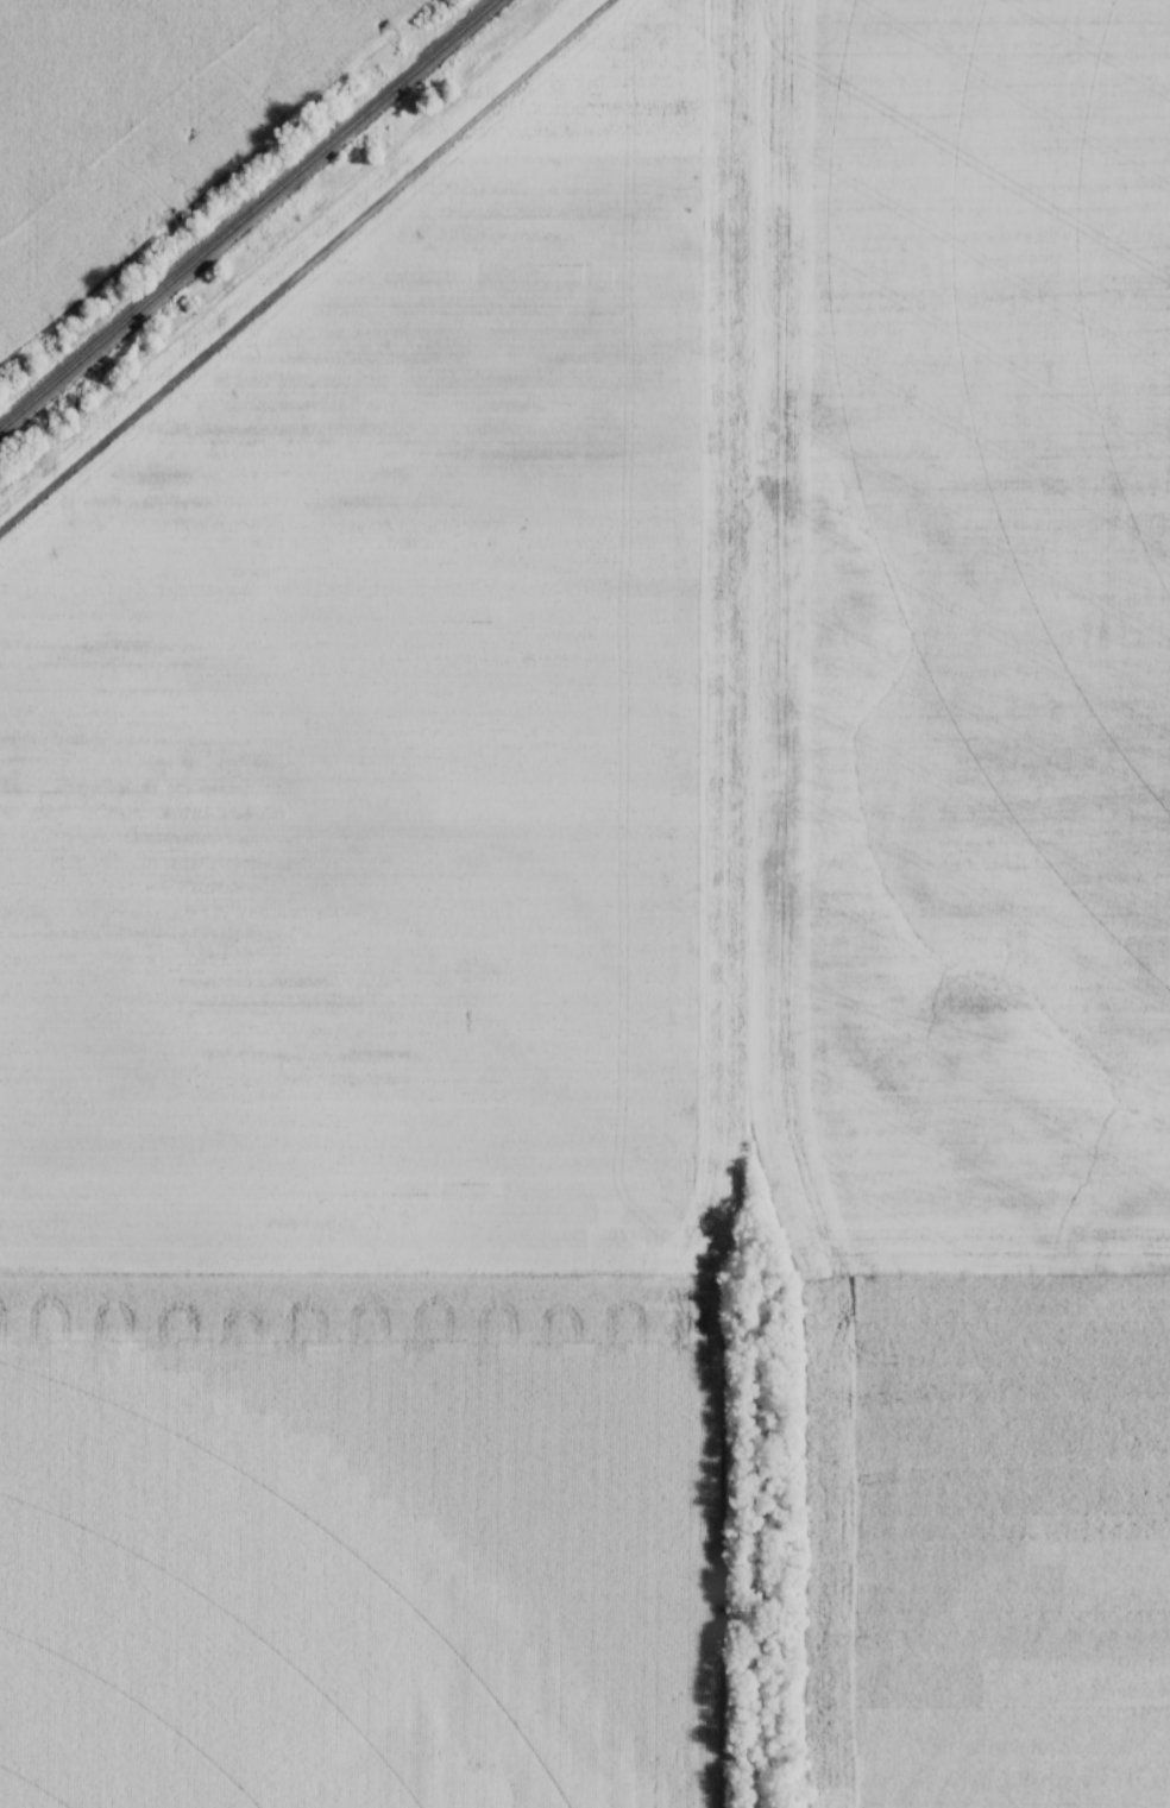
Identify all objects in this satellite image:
crop: (137, 119)
railway: (251, 215)
crop: (678, 799)
crop: (356, 1542)

